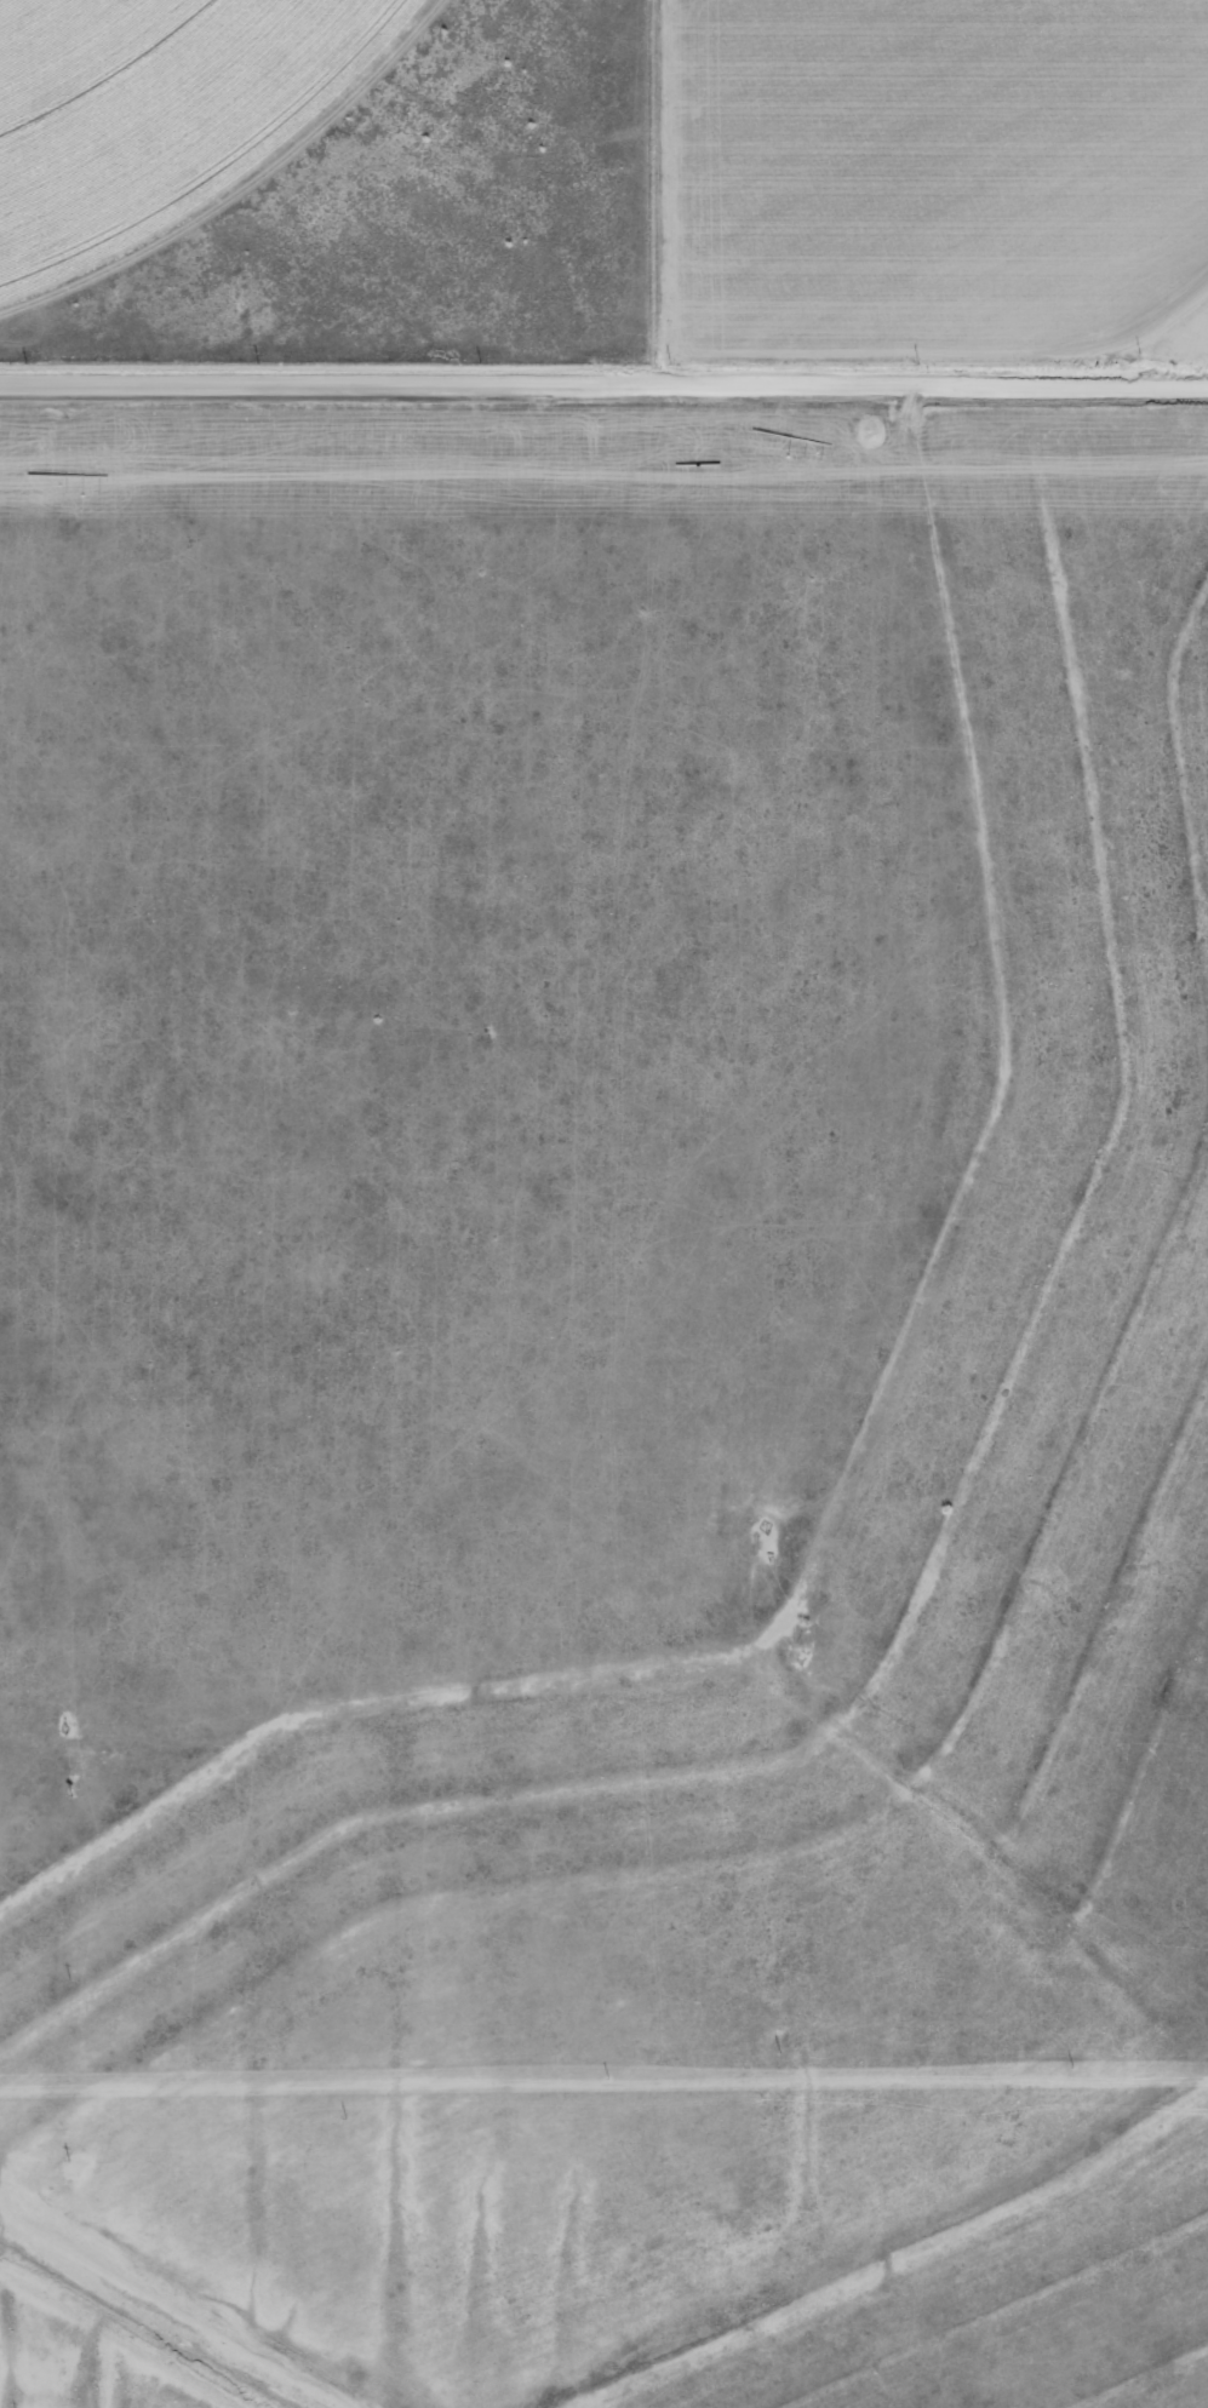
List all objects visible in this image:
road: (672, 200)
road: (603, 399)

